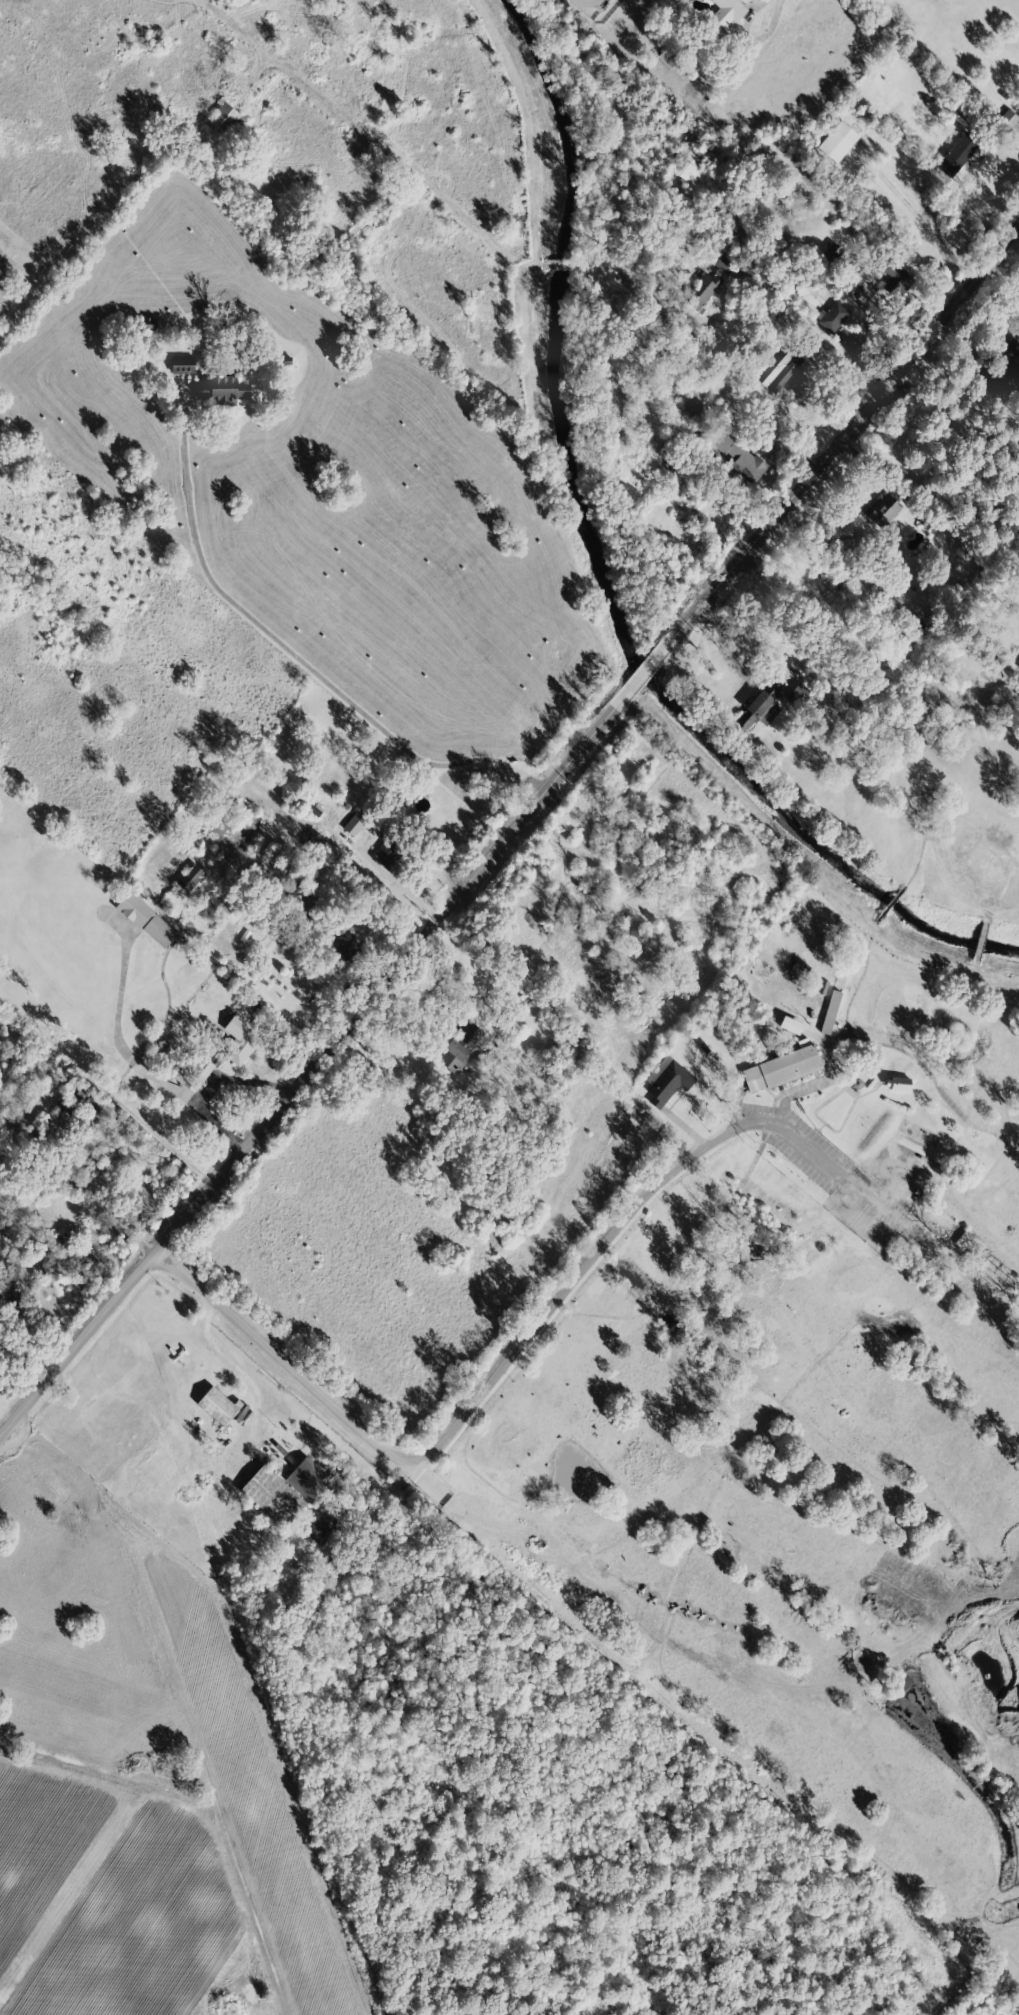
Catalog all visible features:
road: (766, 8)
building: (725, 14)
road: (243, 34)
building: (220, 118)
building: (1014, 131)
building: (837, 141)
road: (1008, 153)
building: (956, 154)
building: (688, 163)
building: (895, 279)
building: (866, 288)
building: (700, 289)
building: (832, 316)
building: (1011, 352)
road: (831, 358)
building: (181, 365)
building: (780, 372)
building: (221, 390)
building: (694, 406)
building: (738, 456)
building: (881, 509)
road: (742, 639)
road: (303, 661)
building: (757, 706)
building: (353, 823)
road: (505, 846)
building: (189, 878)
building: (145, 919)
building: (344, 944)
building: (829, 1011)
building: (790, 1024)
building: (236, 1039)
building: (459, 1046)
building: (780, 1068)
building: (190, 1076)
building: (666, 1080)
building: (896, 1083)
road: (790, 1092)
road: (787, 1137)
road: (697, 1155)
building: (968, 1243)
road: (577, 1282)
road: (306, 1382)
building: (217, 1405)
building: (65, 1470)
building: (49, 1488)
building: (284, 1490)
building: (321, 1527)

